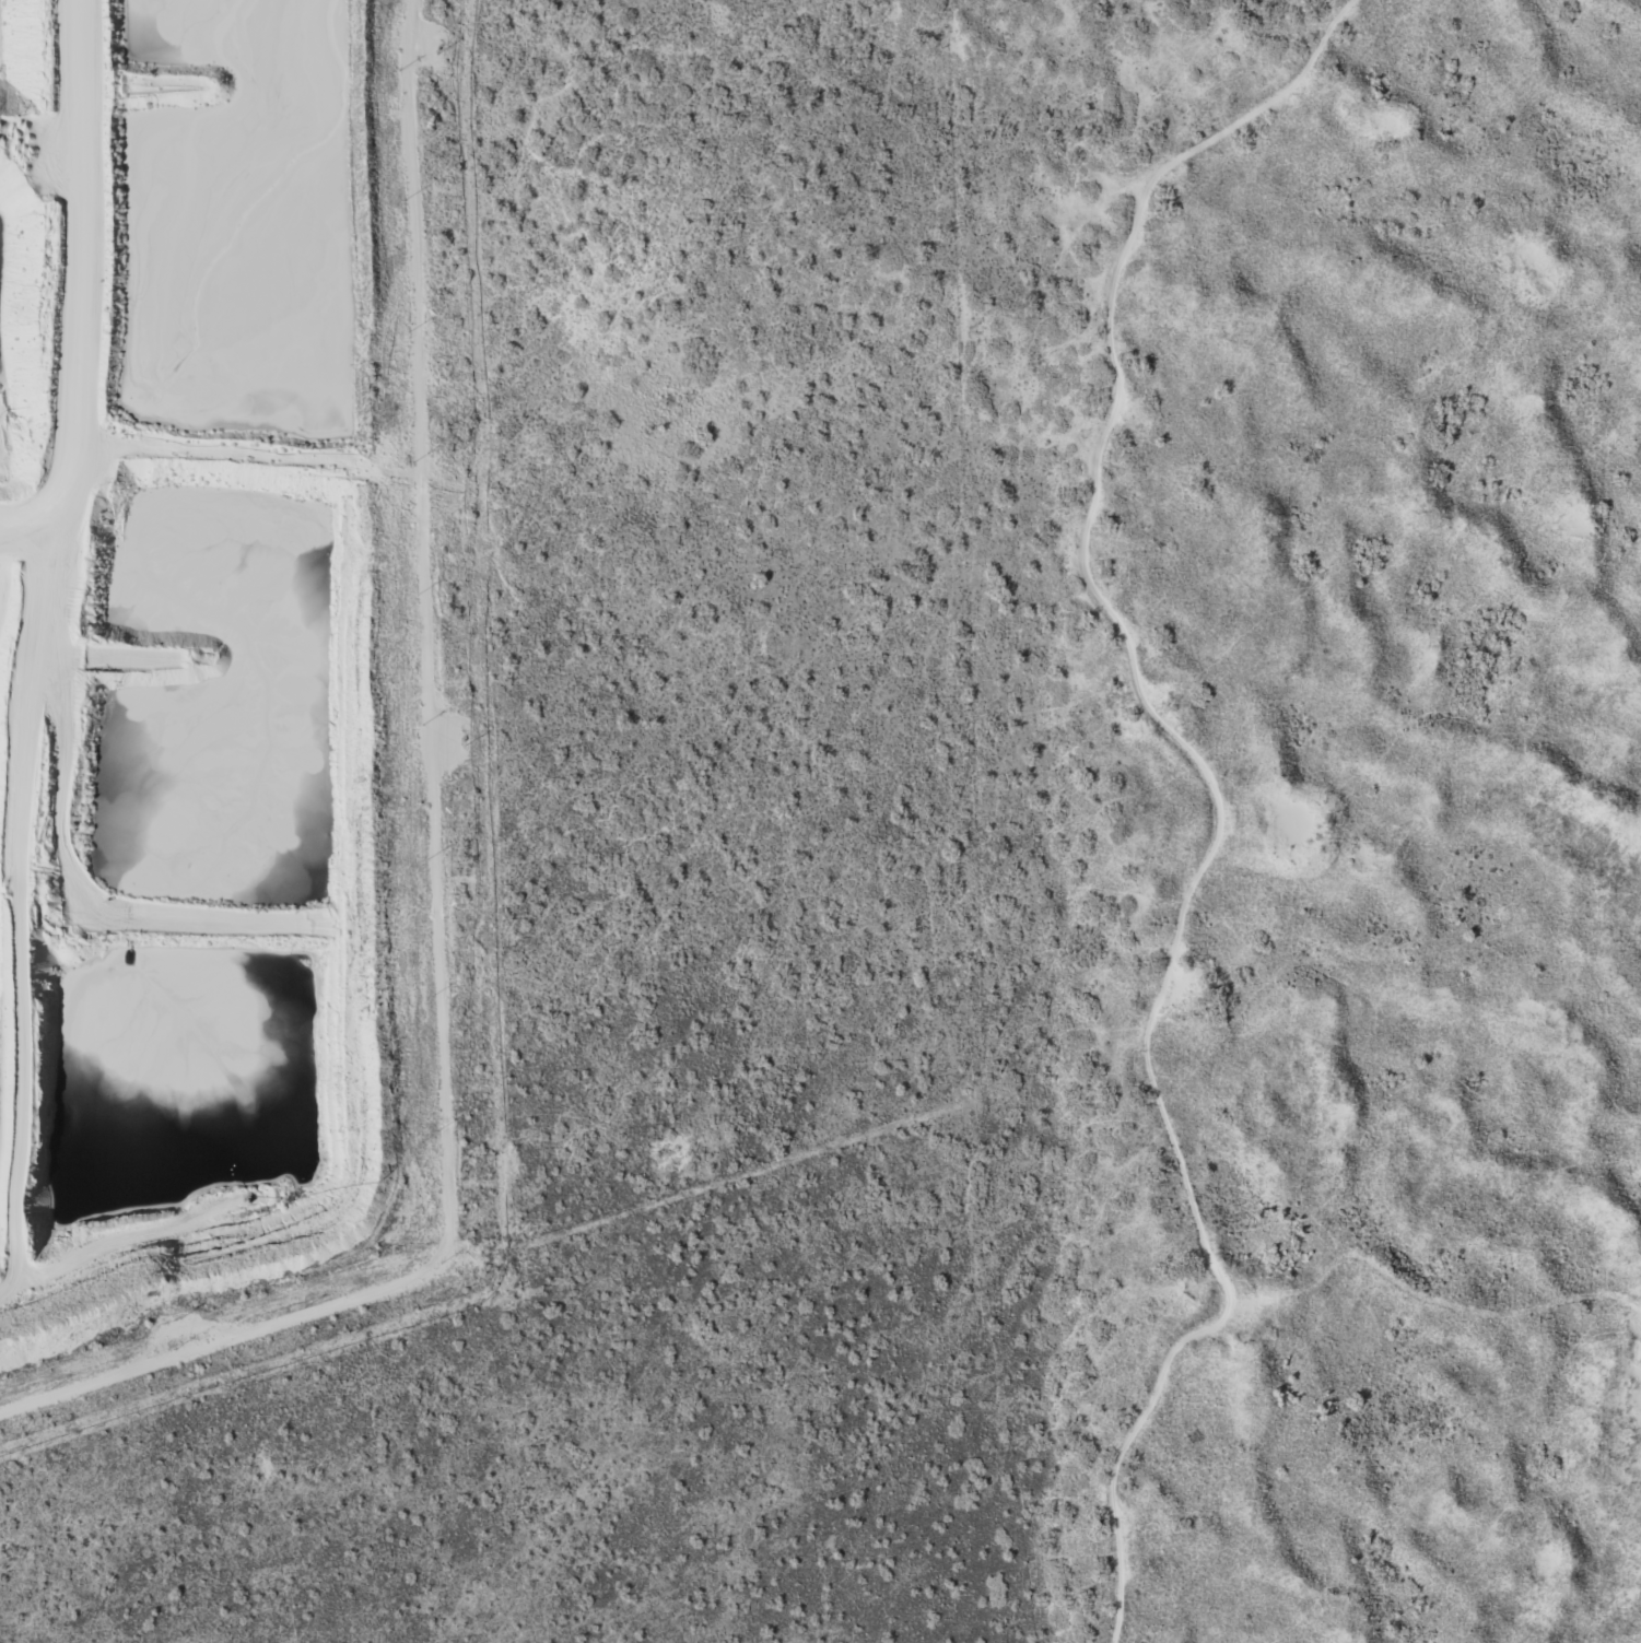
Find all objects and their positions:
quarry: (218, 692)

